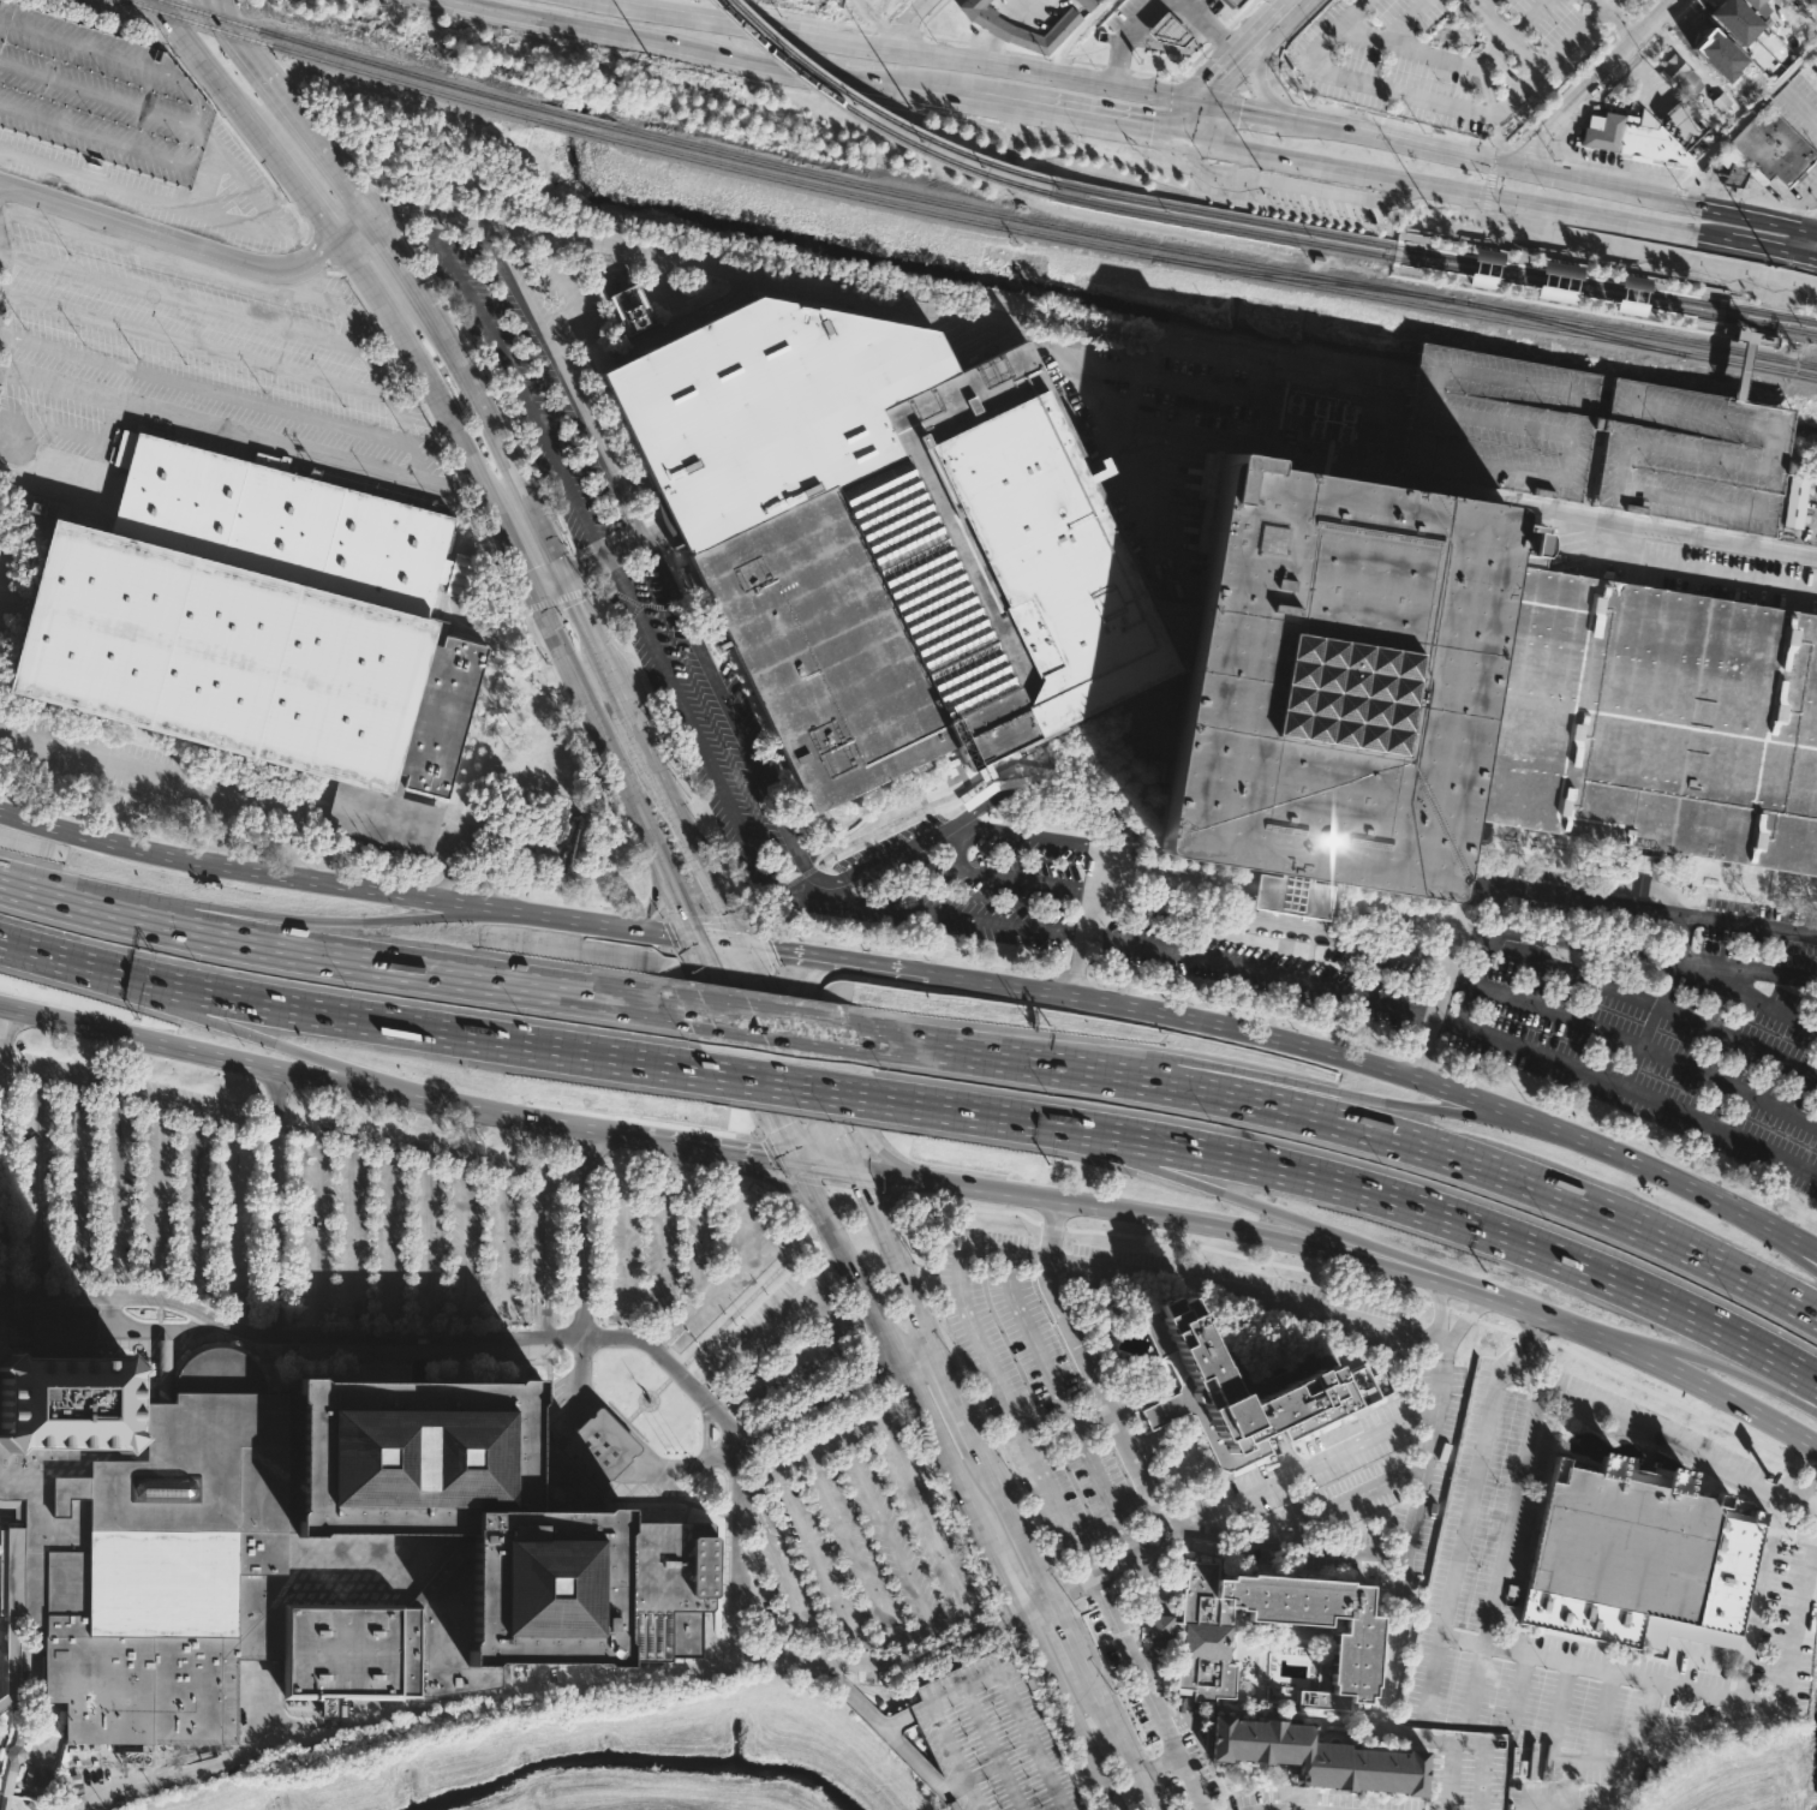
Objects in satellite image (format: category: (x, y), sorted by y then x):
building: (1235, 2)
building: (1087, 4)
road: (1596, 4)
road: (1482, 5)
building: (1757, 6)
road: (143, 7)
road: (234, 7)
road: (1642, 7)
road: (211, 8)
road: (219, 8)
road: (893, 10)
road: (1285, 11)
road: (1242, 13)
road: (790, 14)
building: (1734, 20)
road: (904, 22)
road: (1406, 22)
road: (879, 25)
road: (1618, 25)
building: (1018, 26)
road: (1213, 26)
road: (1626, 26)
road: (1667, 28)
road: (250, 31)
building: (1167, 31)
gas station: (1167, 31)
road: (899, 32)
road: (924, 34)
road: (1502, 35)
road: (1124, 36)
road: (1219, 36)
road: (854, 42)
building: (1711, 42)
road: (987, 46)
road: (1027, 54)
railway: (349, 56)
parking lot: (1451, 56)
road: (737, 59)
road: (1058, 59)
road: (1232, 59)
road: (1453, 60)
road: (1086, 61)
road: (1632, 61)
road: (205, 62)
railway: (331, 62)
road: (1117, 67)
building: (1680, 76)
road: (1176, 77)
road: (1256, 78)
road: (1595, 80)
road: (1612, 83)
road: (1226, 89)
road: (1153, 92)
road: (276, 94)
building: (100, 95)
parking garage: (100, 95)
traffic signals: (1197, 101)
road: (1435, 104)
road: (1800, 107)
road: (1238, 109)
railway: (880, 112)
road: (1063, 117)
railway: (869, 118)
railway: (576, 119)
road: (1189, 119)
road: (1573, 119)
road: (318, 121)
road: (233, 123)
road: (1413, 126)
railway: (574, 130)
road: (1141, 130)
road: (259, 133)
traffic signals: (1182, 137)
building: (1633, 138)
road: (1549, 149)
road: (1531, 150)
building: (1765, 150)
traffic signals: (1520, 167)
road: (1548, 173)
road: (1622, 173)
road: (1490, 177)
road: (1292, 186)
road: (1452, 186)
road: (301, 190)
road: (1739, 197)
road: (348, 198)
traffic signals: (1517, 198)
railway: (880, 201)
road: (1800, 204)
road: (381, 208)
road: (1273, 208)
road: (1797, 208)
road: (1811, 210)
road: (1816, 213)
road: (219, 215)
railway: (1238, 216)
railway: (1030, 219)
road: (1381, 223)
road: (1416, 227)
road: (1401, 231)
road: (352, 233)
road: (171, 235)
road: (1442, 237)
railway: (1423, 247)
road: (1768, 247)
road: (323, 250)
railway: (1370, 252)
road: (1816, 256)
road: (1658, 257)
road: (1816, 259)
road: (390, 264)
railway: (1302, 277)
railway: (1620, 286)
building: (1558, 293)
road: (1738, 293)
road: (178, 299)
road: (1743, 299)
railway: (1459, 300)
railway: (1418, 304)
building: (632, 310)
railway: (1753, 322)
parking lot: (192, 324)
railway: (1576, 327)
railway: (1692, 327)
railway: (1643, 334)
parking lot: (557, 358)
road: (399, 360)
railway: (1750, 363)
road: (479, 374)
road: (423, 375)
road: (562, 376)
road: (1087, 380)
road: (518, 384)
road: (1242, 390)
road: (395, 411)
building: (1498, 423)
parking garage: (1498, 423)
road: (238, 428)
building: (1693, 456)
parking garage: (1693, 456)
road: (1134, 467)
road: (461, 479)
road: (42, 483)
building: (1797, 503)
road: (1558, 506)
road: (473, 508)
road: (480, 538)
road: (480, 539)
road: (646, 539)
building: (884, 539)
road: (1753, 540)
road: (512, 552)
road: (604, 557)
road: (11, 562)
parking lot: (7, 572)
road: (1693, 572)
road: (575, 573)
building: (455, 574)
road: (459, 575)
traffic signals: (562, 577)
road: (501, 580)
road: (545, 584)
traffic signals: (530, 591)
road: (551, 599)
building: (255, 620)
road: (584, 625)
road: (489, 629)
road: (509, 645)
building: (1464, 694)
road: (593, 725)
road: (664, 759)
road: (1021, 763)
road: (114, 764)
parking lot: (165, 783)
road: (295, 791)
road: (1064, 791)
road: (430, 801)
road: (264, 802)
road: (385, 810)
road: (313, 811)
building: (383, 817)
road: (897, 819)
road: (476, 822)
road: (381, 826)
road: (221, 830)
road: (796, 849)
road: (292, 850)
road: (480, 860)
road: (456, 866)
road: (759, 870)
road: (1095, 871)
road: (246, 873)
building: (1639, 876)
road: (1004, 879)
road: (10, 882)
road: (778, 888)
road: (823, 889)
road: (1549, 890)
road: (1737, 891)
building: (1292, 895)
road: (676, 900)
road: (653, 906)
road: (259, 915)
road: (692, 918)
road: (557, 919)
road: (1271, 926)
road: (668, 932)
road: (655, 934)
parking lot: (1321, 934)
traffic signals: (694, 940)
road: (1500, 940)
road: (719, 944)
road: (1081, 945)
road: (767, 948)
traffic signals: (745, 949)
road: (1638, 952)
road: (339, 957)
road: (803, 957)
road: (871, 967)
road: (1259, 969)
road: (1755, 997)
road: (1658, 1002)
road: (1637, 1010)
road: (349, 1016)
road: (777, 1025)
road: (213, 1026)
road: (2, 1037)
road: (1275, 1039)
road: (717, 1044)
road: (1632, 1044)
road: (746, 1050)
road: (214, 1053)
road: (797, 1058)
road: (833, 1065)
road: (819, 1067)
road: (10, 1068)
road: (806, 1087)
road: (1627, 1089)
road: (133, 1094)
road: (277, 1095)
road: (1391, 1104)
road: (957, 1111)
road: (286, 1119)
road: (543, 1119)
road: (1370, 1128)
road: (677, 1141)
road: (398, 1142)
road: (747, 1152)
traffic signals: (797, 1160)
road: (825, 1164)
traffic signals: (853, 1167)
road: (76, 1175)
road: (761, 1175)
road: (873, 1176)
road: (809, 1181)
road: (779, 1183)
road: (40, 1184)
road: (157, 1187)
road: (1209, 1189)
road: (890, 1191)
road: (892, 1194)
road: (1705, 1194)
road: (118, 1206)
road: (540, 1208)
road: (1425, 1209)
road: (195, 1212)
road: (1131, 1213)
road: (237, 1224)
road: (277, 1230)
road: (581, 1232)
road: (1786, 1233)
road: (760, 1238)
road: (701, 1247)
road: (1786, 1247)
street lamp: (783, 1255)
parking lot: (677, 1256)
road: (1028, 1256)
road: (896, 1259)
road: (661, 1264)
street lamp: (795, 1265)
road: (832, 1265)
road: (624, 1268)
street lamp: (754, 1284)
road: (1468, 1288)
road: (233, 1290)
street lamp: (766, 1295)
parking lot: (1241, 1295)
road: (96, 1296)
road: (1440, 1308)
road: (537, 1310)
road: (545, 1310)
road: (112, 1312)
road: (823, 1313)
road: (735, 1314)
road: (329, 1315)
road: (404, 1315)
road: (479, 1315)
street lamp: (724, 1315)
road: (1468, 1315)
road: (351, 1322)
street lamp: (735, 1326)
road: (101, 1327)
road: (483, 1337)
street lamp: (695, 1343)
road: (1674, 1349)
street lamp: (706, 1354)
road: (269, 1361)
road: (919, 1361)
road: (885, 1366)
road: (1088, 1372)
road: (1674, 1372)
road: (580, 1380)
road: (967, 1386)
parking lot: (1032, 1392)
building: (1247, 1392)
road: (642, 1393)
road: (958, 1398)
road: (549, 1405)
road: (818, 1405)
road: (1064, 1405)
road: (629, 1417)
road: (1072, 1434)
road: (1660, 1438)
road: (605, 1442)
road: (1343, 1450)
building: (591, 1454)
road: (591, 1456)
road: (1478, 1462)
road: (685, 1464)
road: (582, 1466)
road: (1793, 1469)
road: (901, 1473)
road: (1809, 1483)
road: (956, 1485)
road: (763, 1487)
road: (609, 1492)
road: (949, 1495)
road: (742, 1497)
road: (1514, 1500)
road: (1800, 1503)
road: (6, 1511)
park: (6, 1512)
road: (757, 1513)
road: (751, 1517)
road: (1014, 1521)
road: (1308, 1521)
road: (887, 1537)
parking lot: (855, 1541)
building: (311, 1543)
road: (1335, 1549)
road: (736, 1551)
road: (815, 1558)
building: (1638, 1558)
road: (1123, 1560)
road: (861, 1564)
road: (1154, 1582)
road: (787, 1587)
road: (1062, 1587)
road: (1034, 1603)
road: (1755, 1608)
road: (1006, 1621)
road: (1160, 1626)
road: (928, 1631)
road: (1069, 1635)
building: (1355, 1636)
road: (832, 1639)
road: (1399, 1648)
park: (2, 1656)
road: (1153, 1656)
road: (865, 1662)
building: (11, 1663)
road: (1591, 1668)
street lamp: (978, 1672)
road: (1434, 1672)
road: (841, 1678)
road: (1107, 1680)
road: (979, 1681)
road: (1475, 1684)
road: (1785, 1685)
street lamp: (986, 1689)
street lamp: (944, 1690)
road: (1517, 1690)
road: (1148, 1692)
street lamp: (993, 1704)
road: (261, 1706)
street lamp: (952, 1706)
road: (1602, 1718)
street lamp: (1000, 1719)
road: (382, 1720)
road: (897, 1721)
street lamp: (958, 1721)
road: (1057, 1721)
road: (1645, 1725)
road: (879, 1726)
street lamp: (1008, 1733)
street lamp: (966, 1736)
helipad: (981, 1737)
building: (992, 1739)
parking garage: (992, 1739)
road: (1119, 1742)
street lamp: (1014, 1748)
road: (992, 1749)
street lamp: (973, 1751)
road: (1548, 1752)
building: (1316, 1757)
street lamp: (1021, 1763)
street lamp: (980, 1764)
road: (1155, 1764)
building: (12, 1766)
road: (1148, 1769)
road: (1450, 1775)
road: (974, 1776)
street lamp: (1028, 1778)
street lamp: (987, 1779)
road: (1566, 1779)
street lamp: (1035, 1792)
street lamp: (994, 1793)
road: (1161, 1794)
road: (1562, 1798)
parking lot: (26, 1806)
street lamp: (1041, 1806)
street lamp: (1000, 1808)
road: (1297, 1809)

